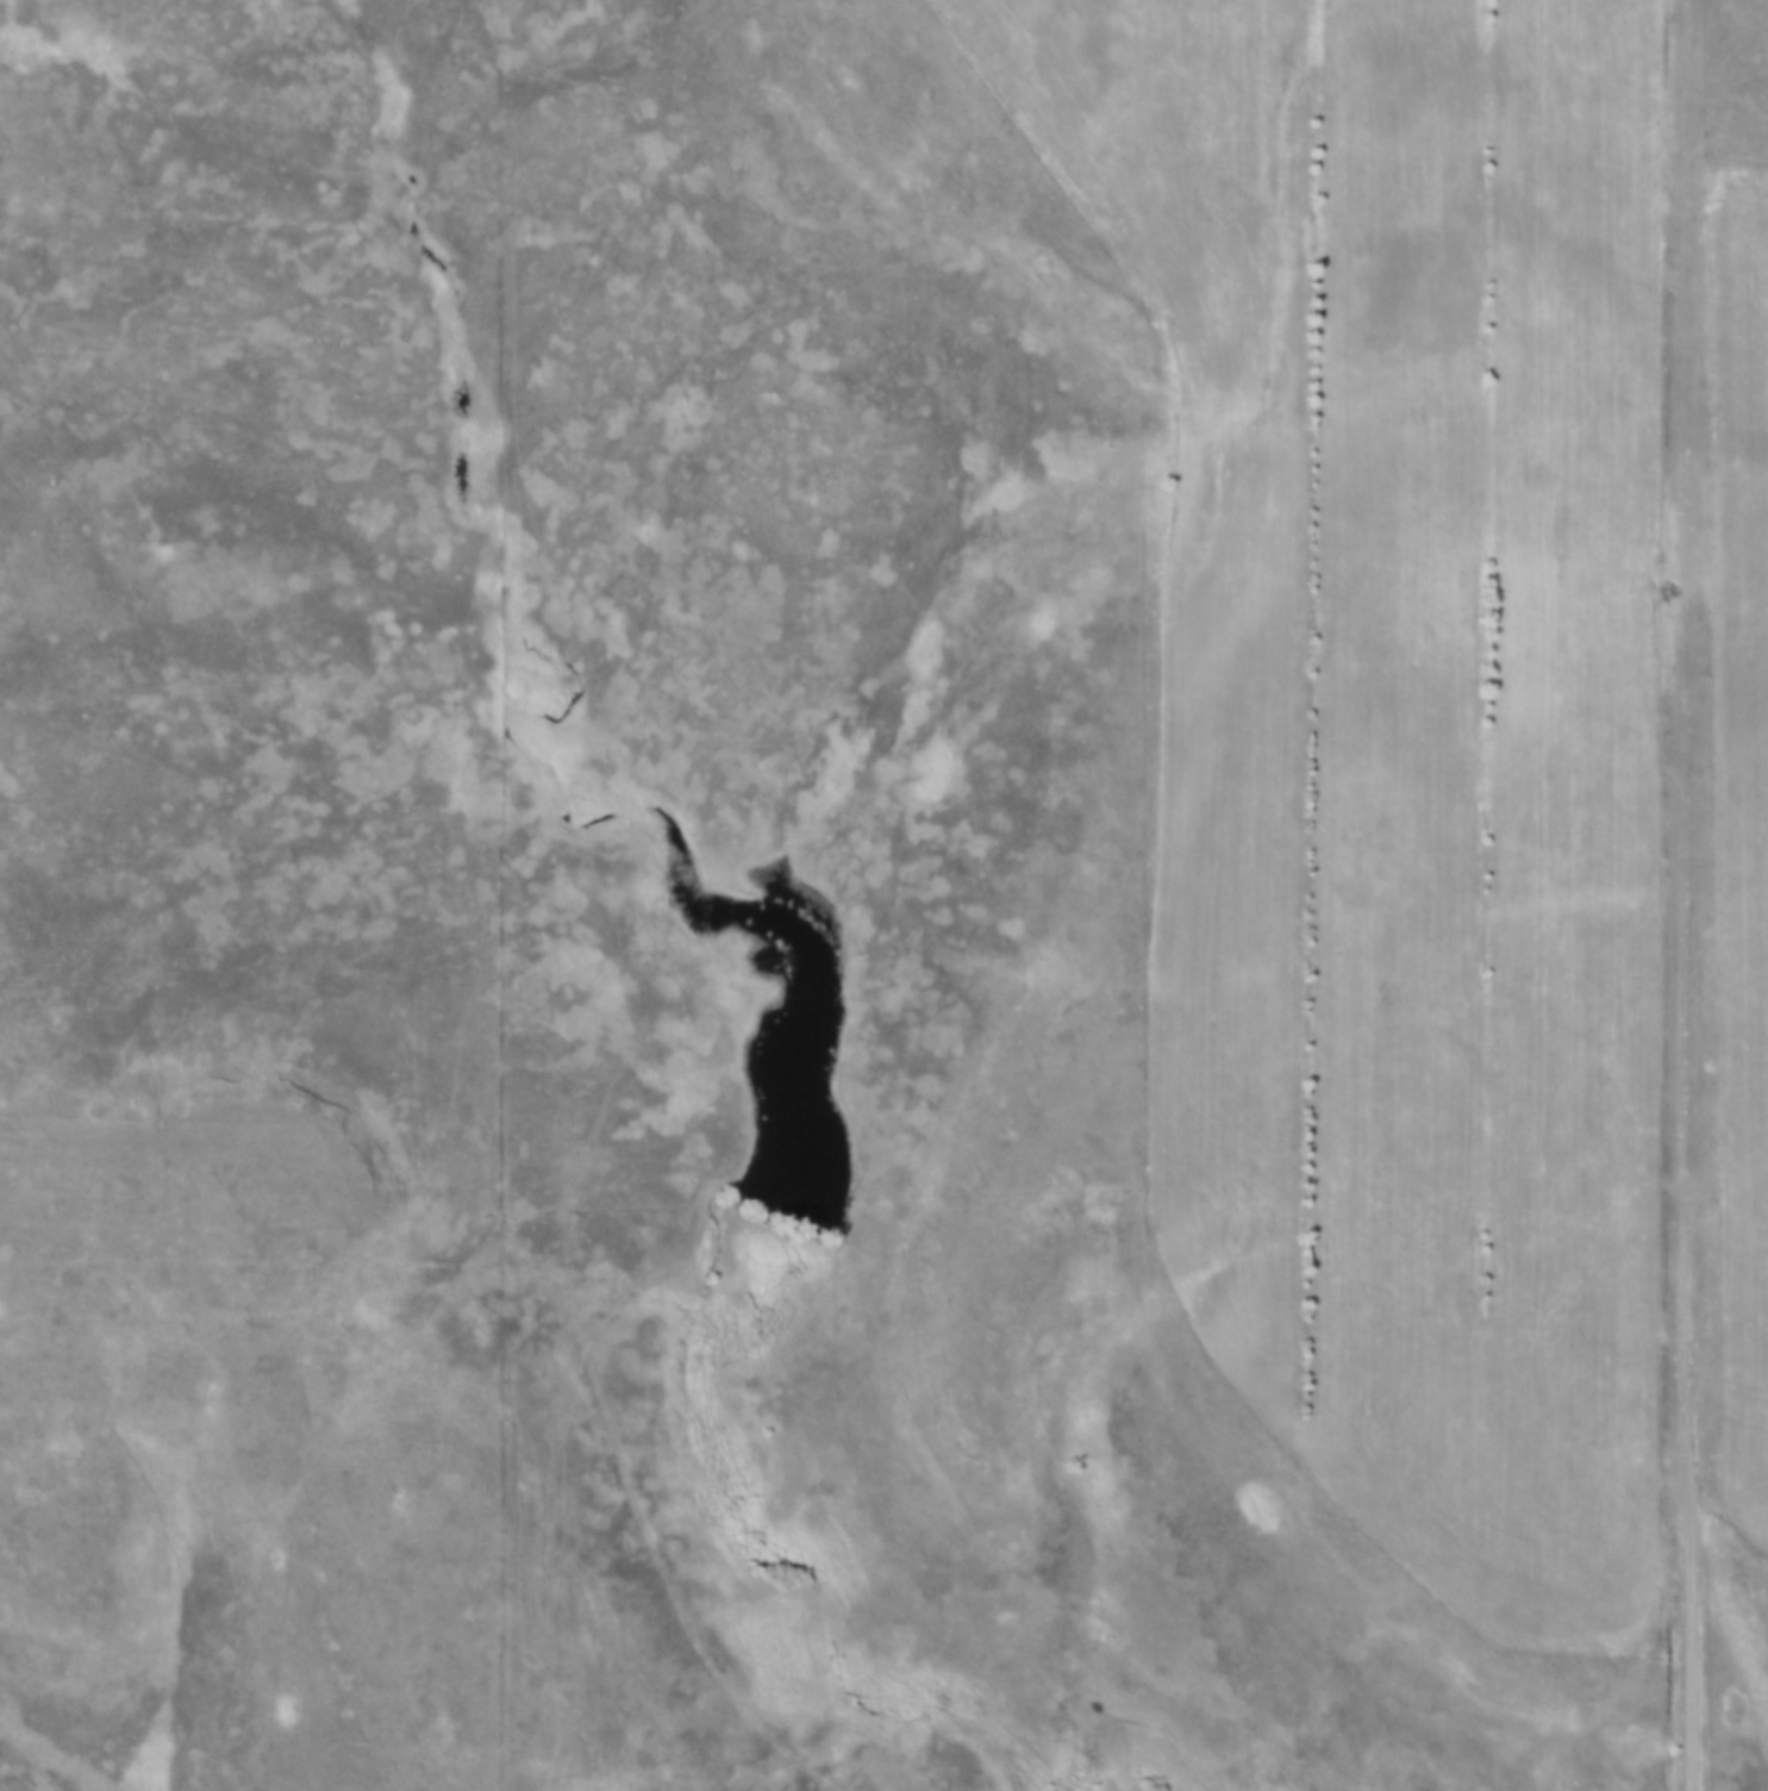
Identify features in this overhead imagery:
road: (1681, 895)
road: (594, 1374)

